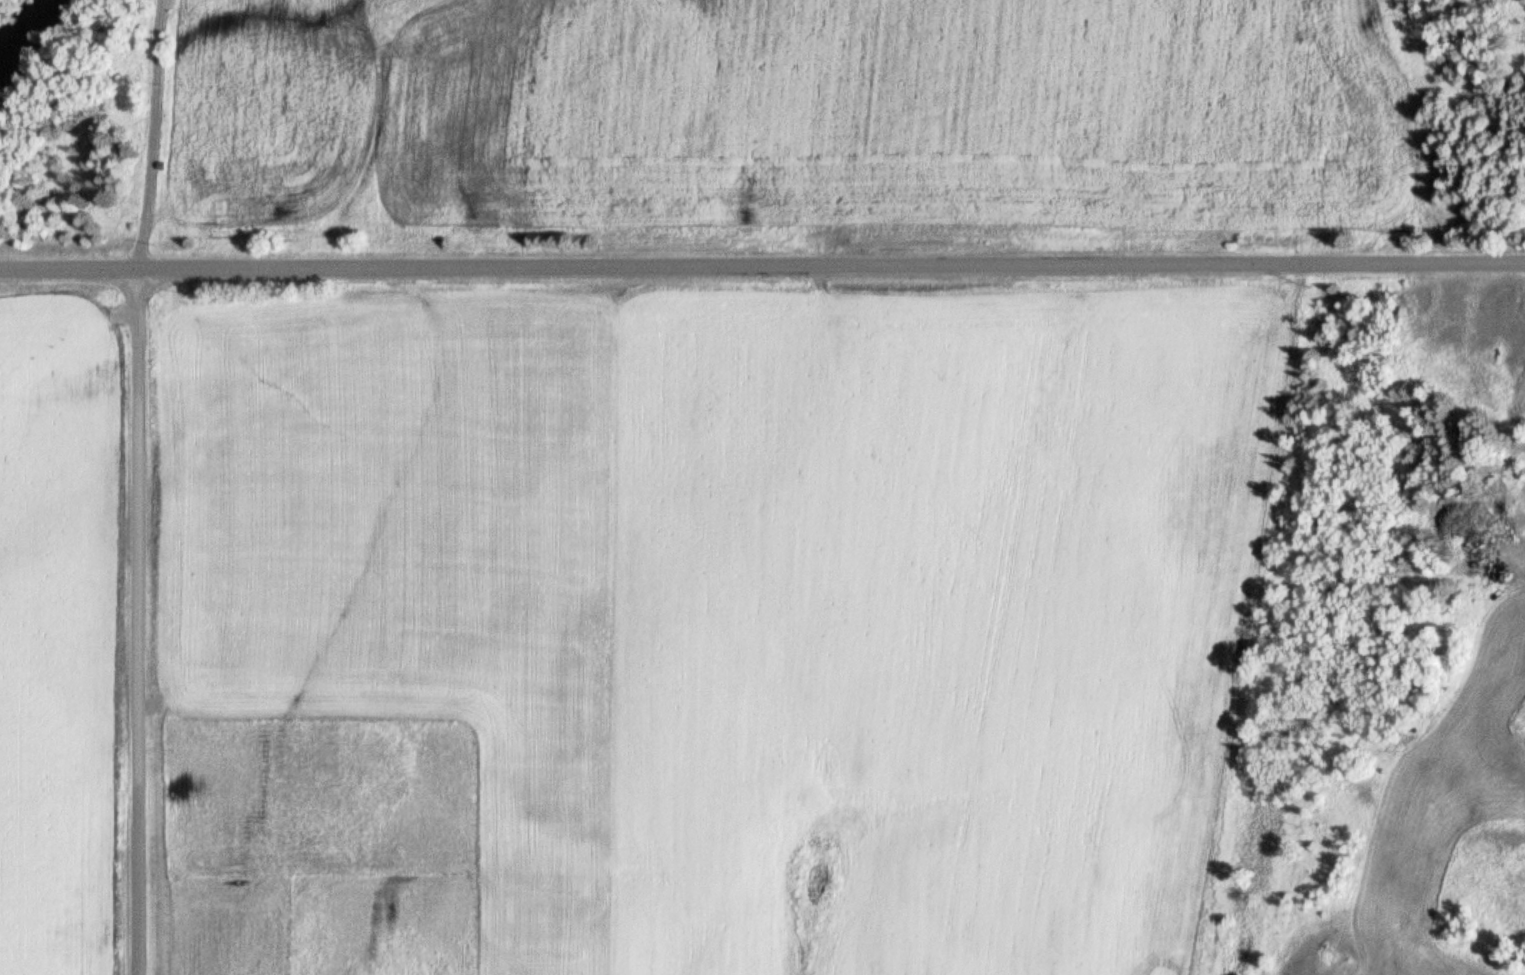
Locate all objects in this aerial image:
river: (34, 34)
road: (148, 136)
road: (762, 268)
road: (134, 623)
building: (228, 969)

